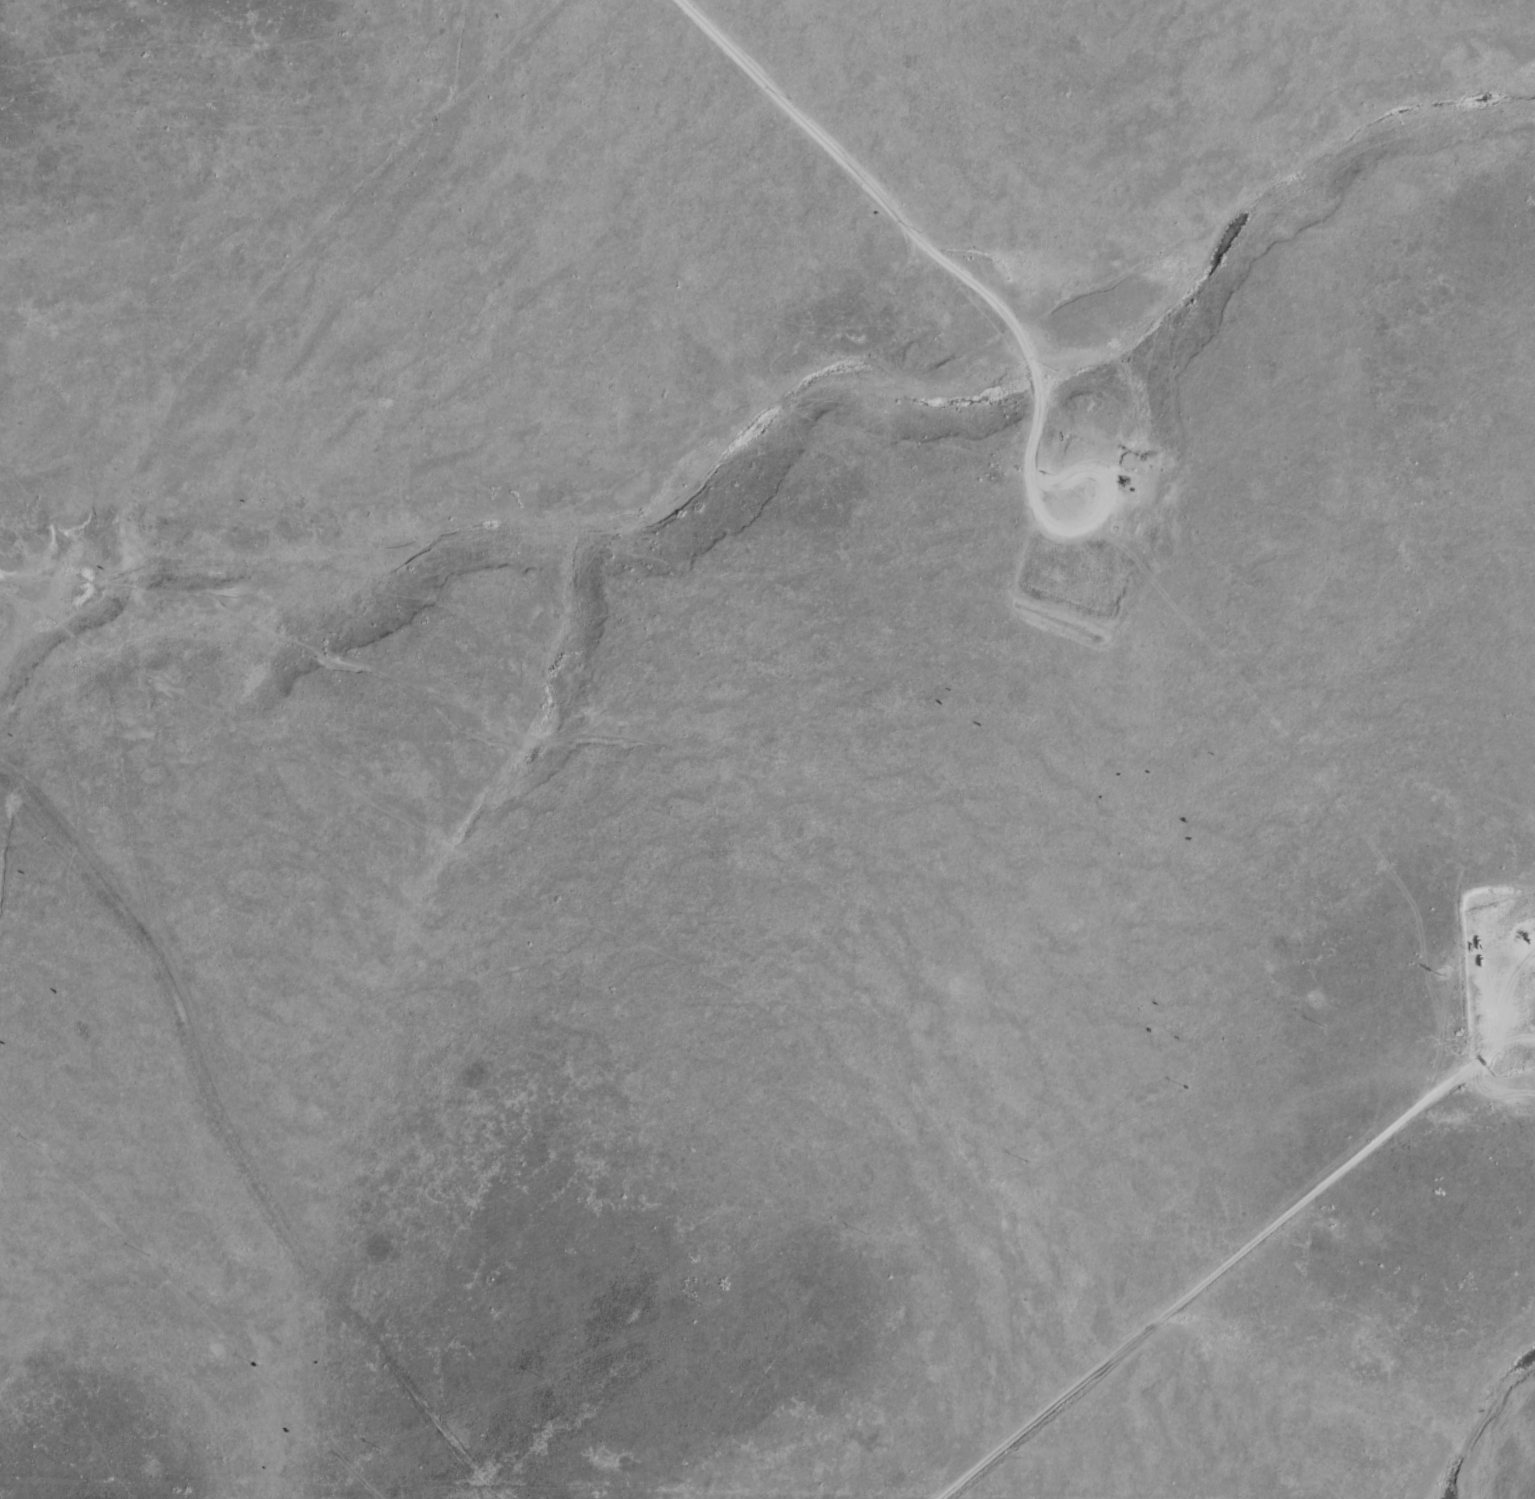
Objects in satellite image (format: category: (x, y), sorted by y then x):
road: (218, 1157)

